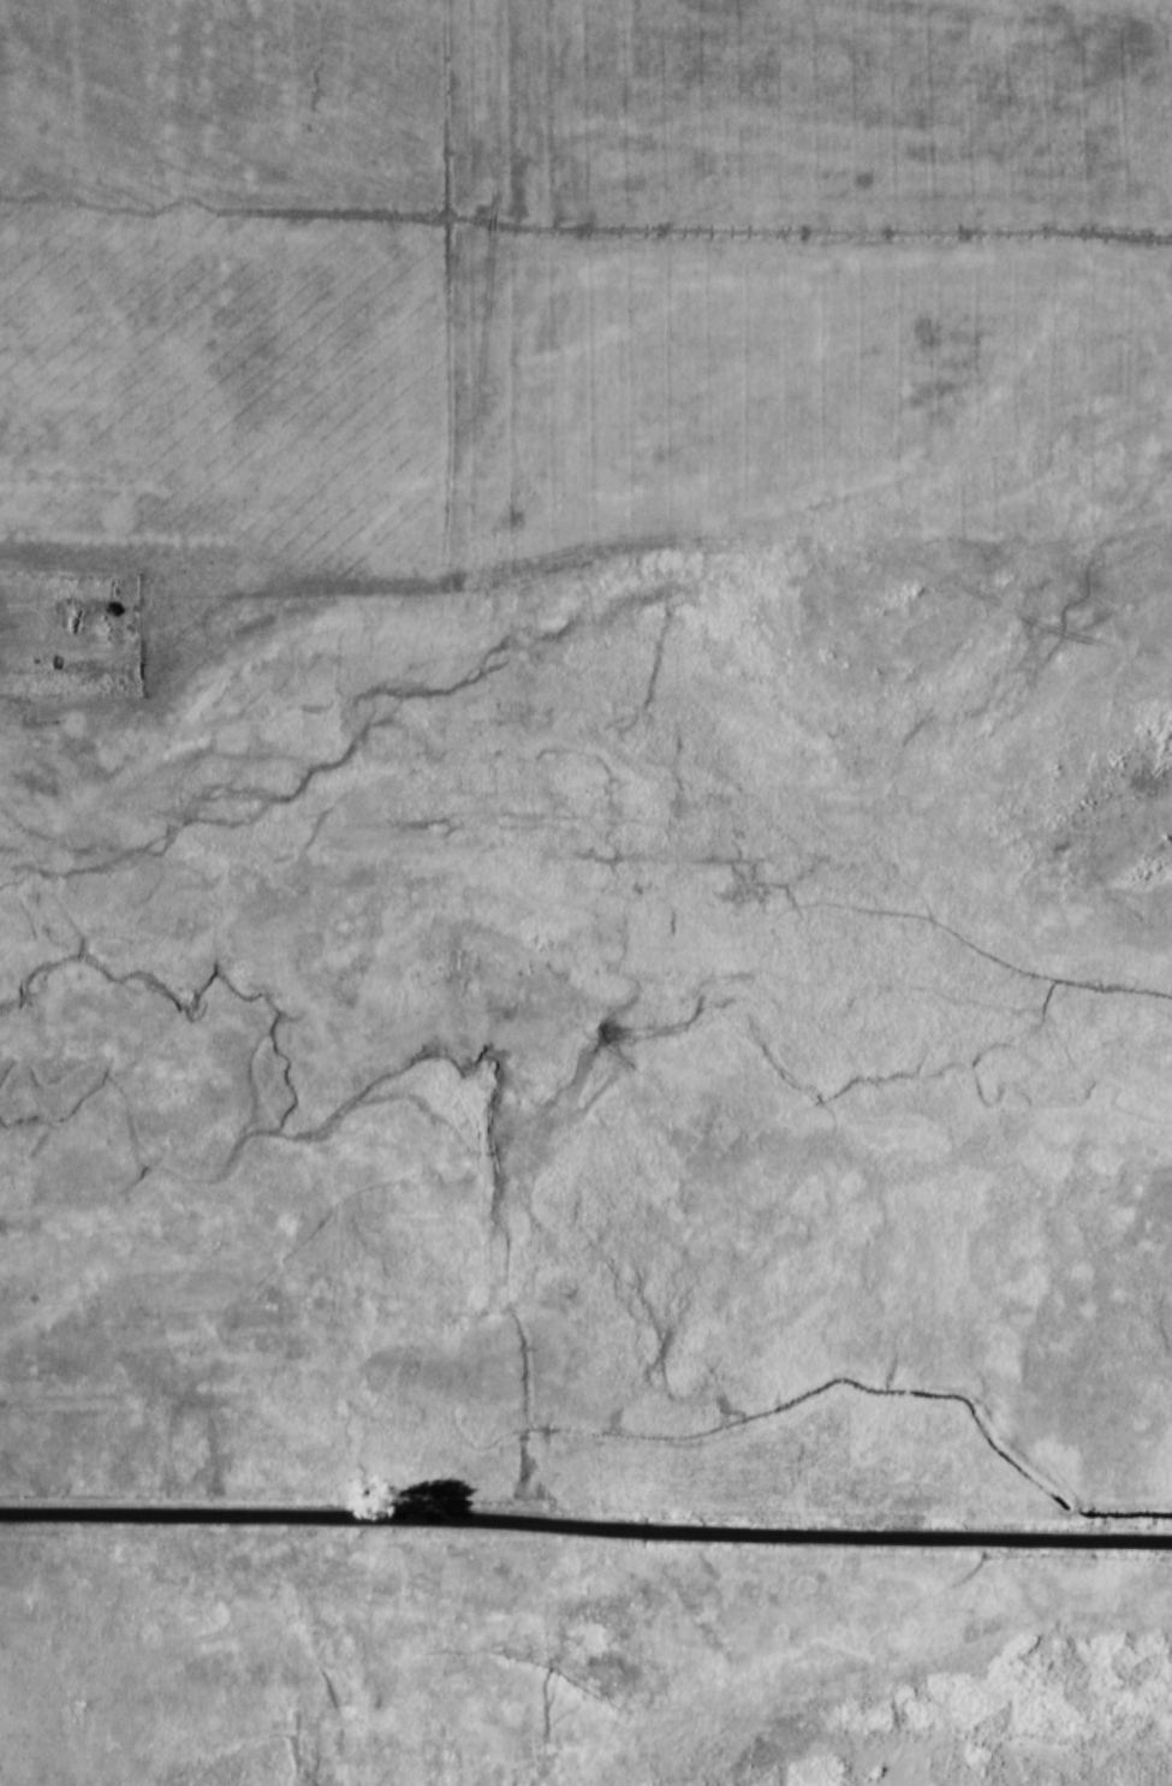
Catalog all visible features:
road: (585, 1525)

